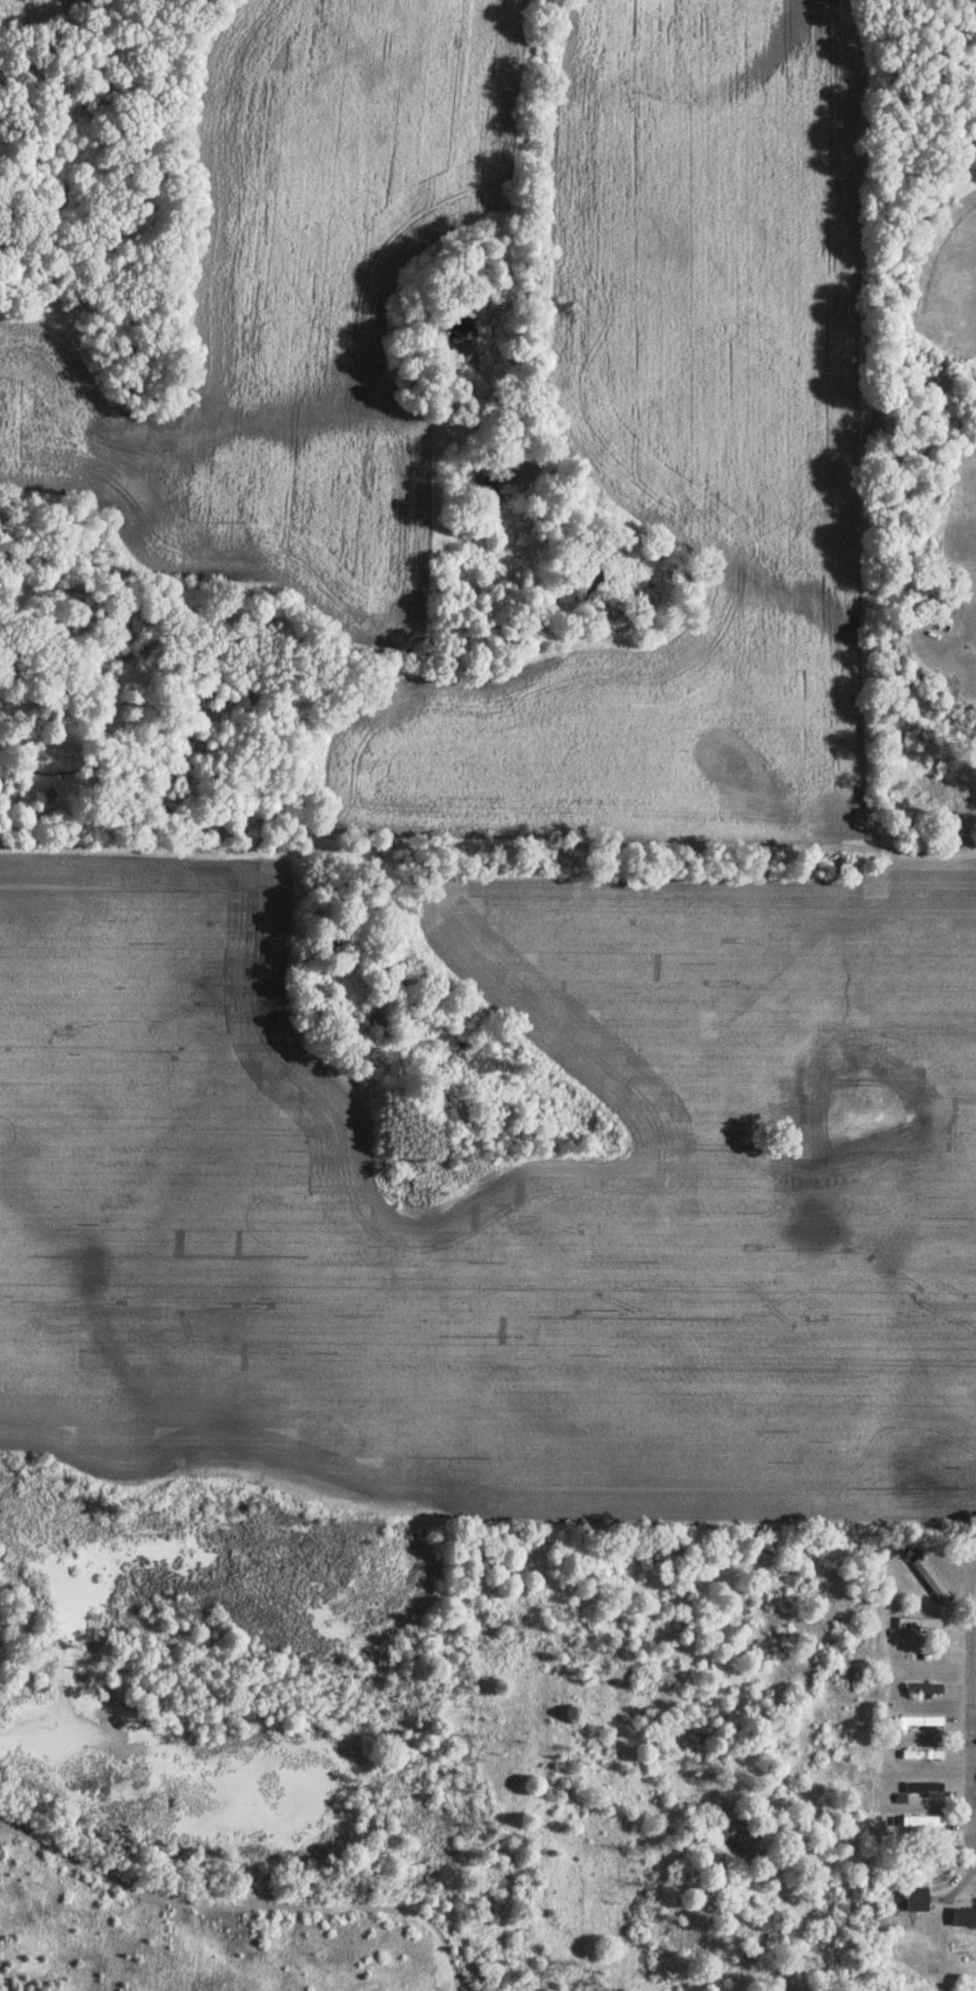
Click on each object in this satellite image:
park: (955, 283)
road: (932, 846)
building: (969, 1579)
road: (975, 1639)
building: (927, 1657)
road: (975, 1677)
building: (924, 1690)
building: (921, 1725)
building: (923, 1756)
building: (926, 1789)
building: (917, 1901)
building: (964, 1918)
building: (964, 1948)

